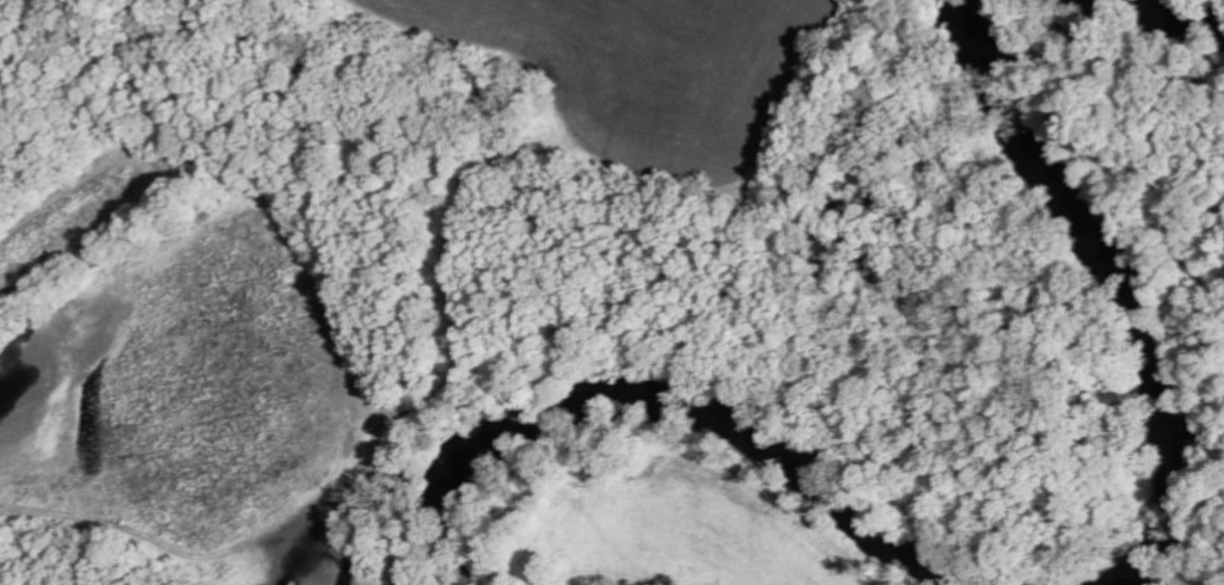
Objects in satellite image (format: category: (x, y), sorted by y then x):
river: (1163, 13)
river: (1121, 290)
river: (659, 394)

